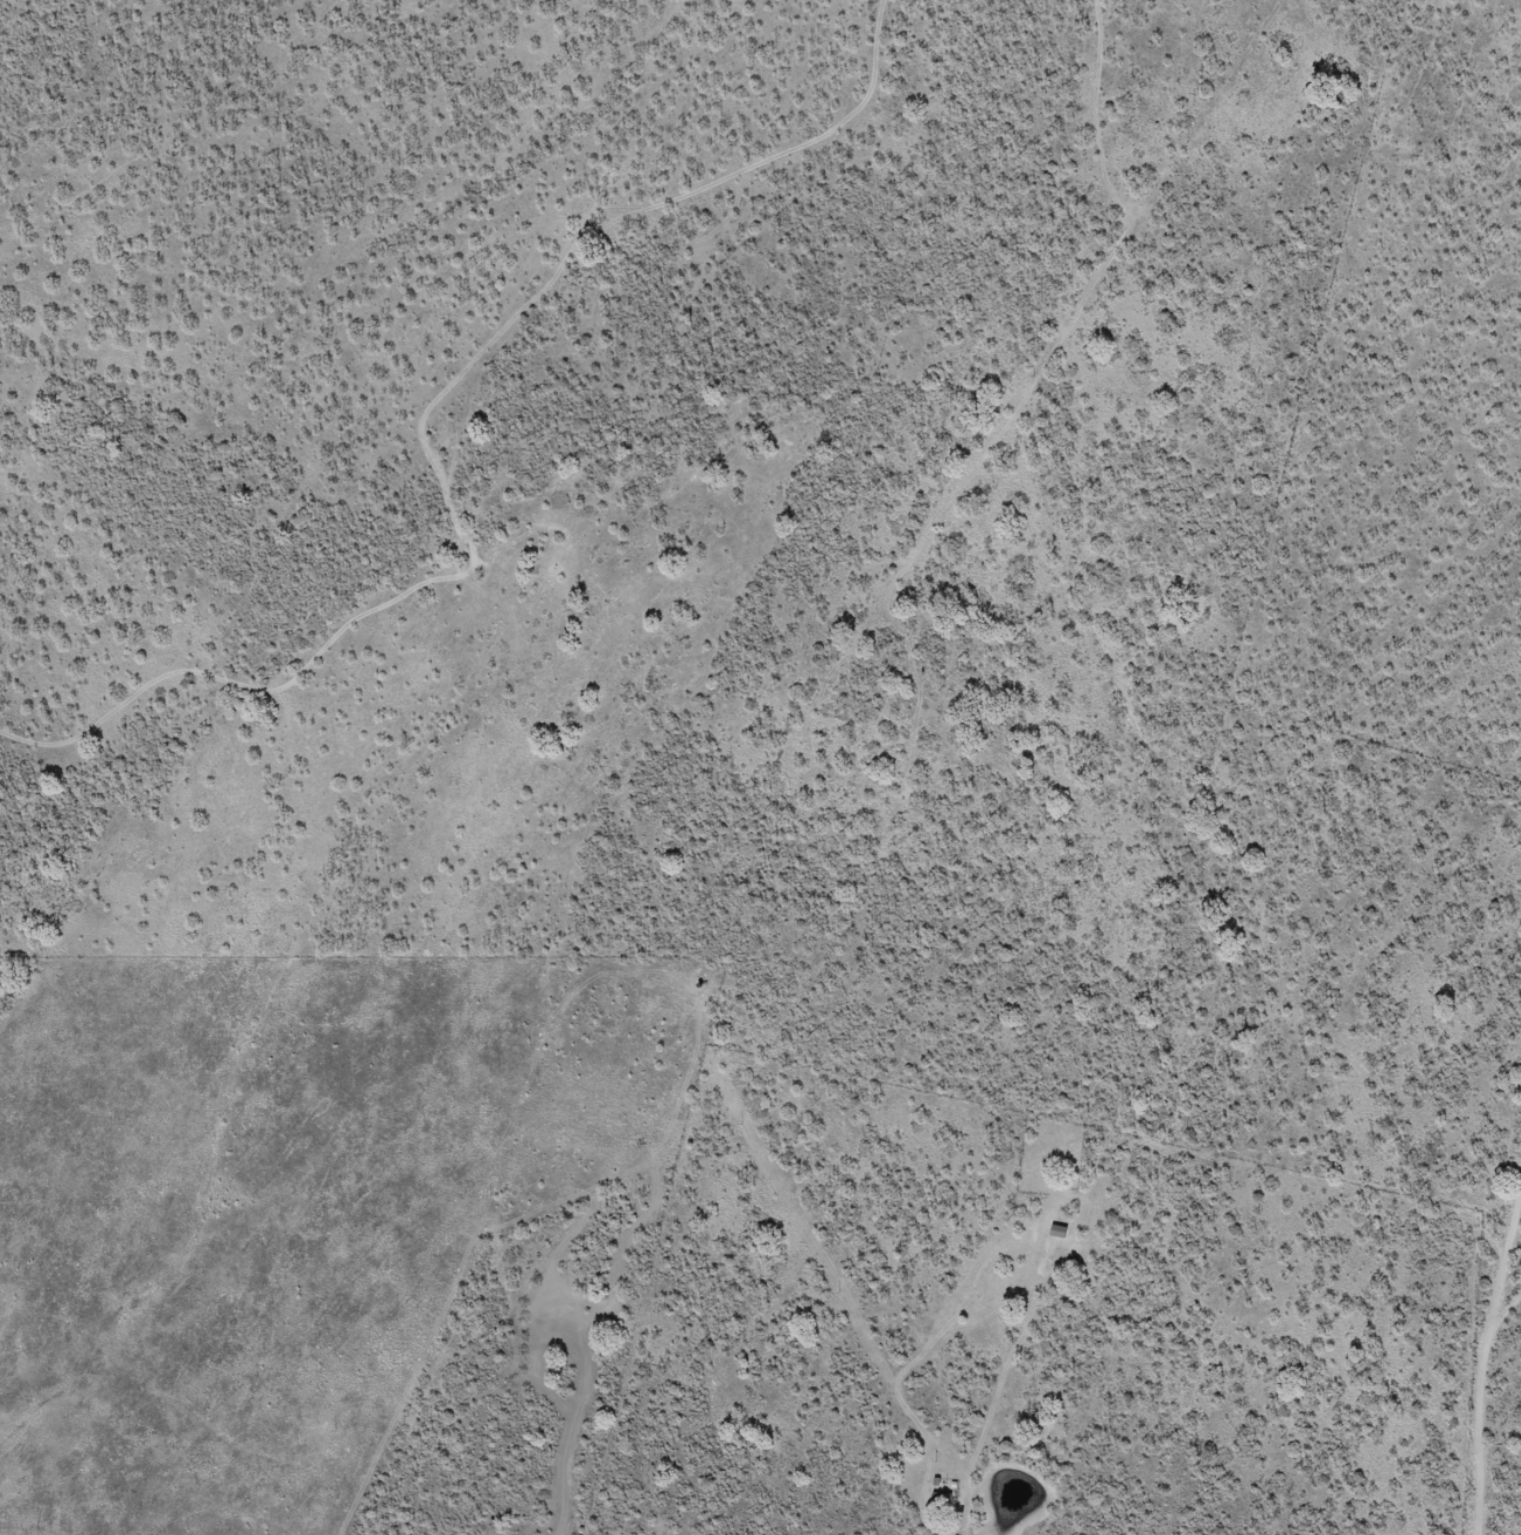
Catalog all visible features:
building: (1058, 1232)
road: (1482, 1337)
building: (941, 1500)

